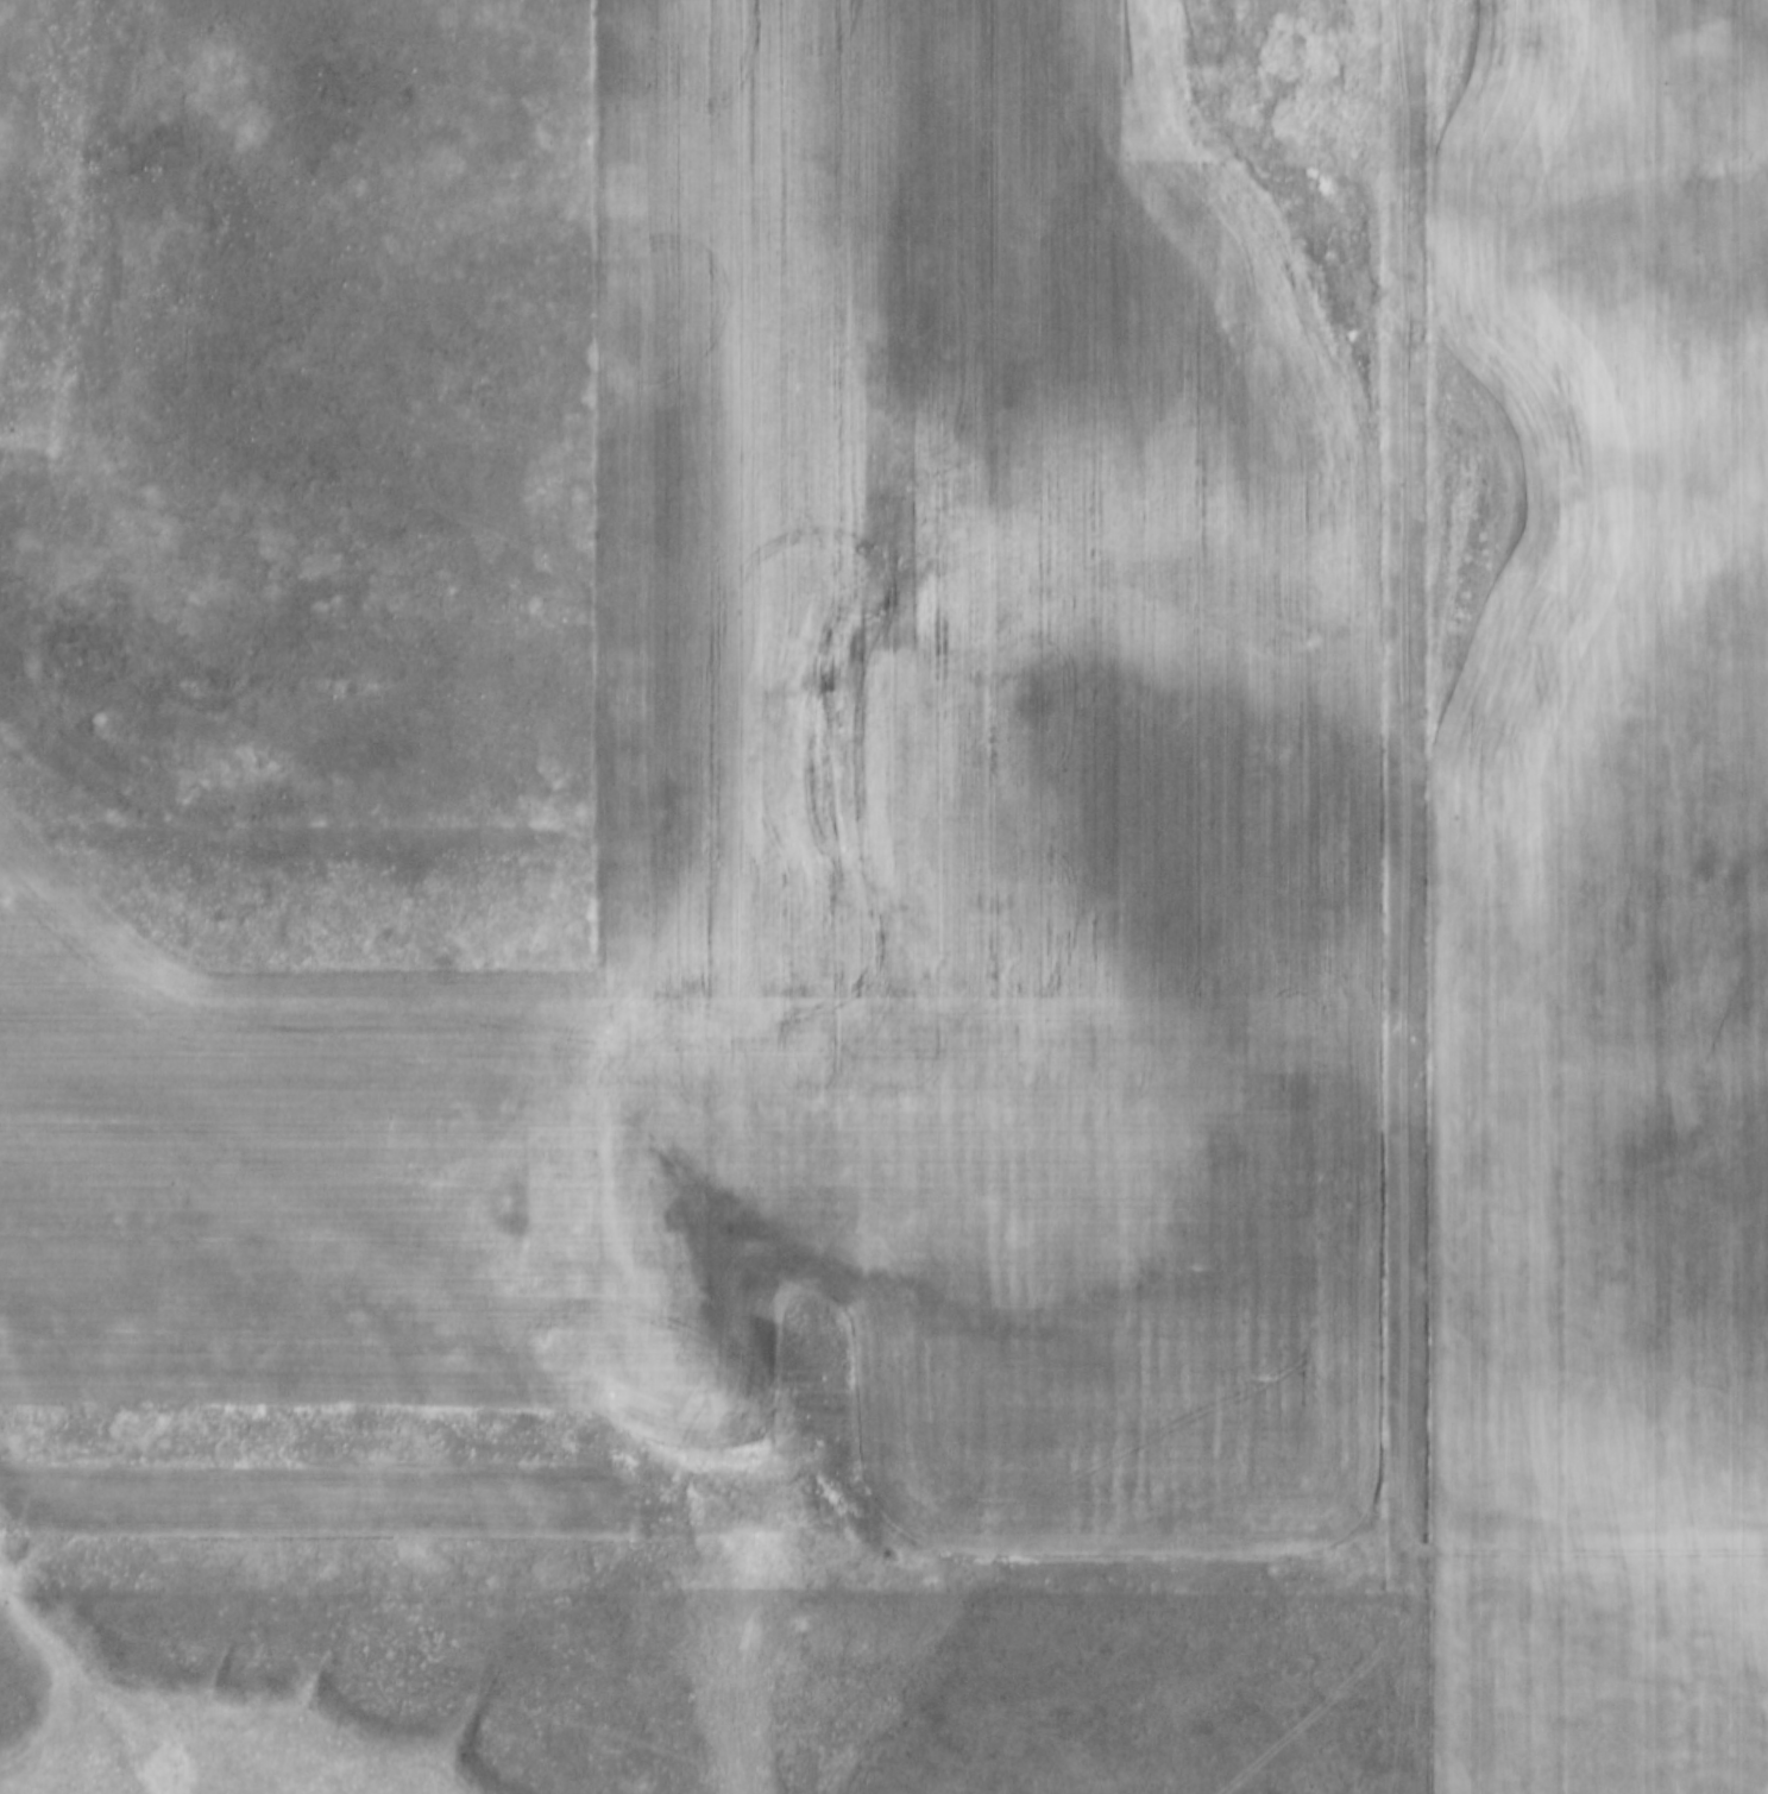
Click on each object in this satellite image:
road: (1605, 1579)

